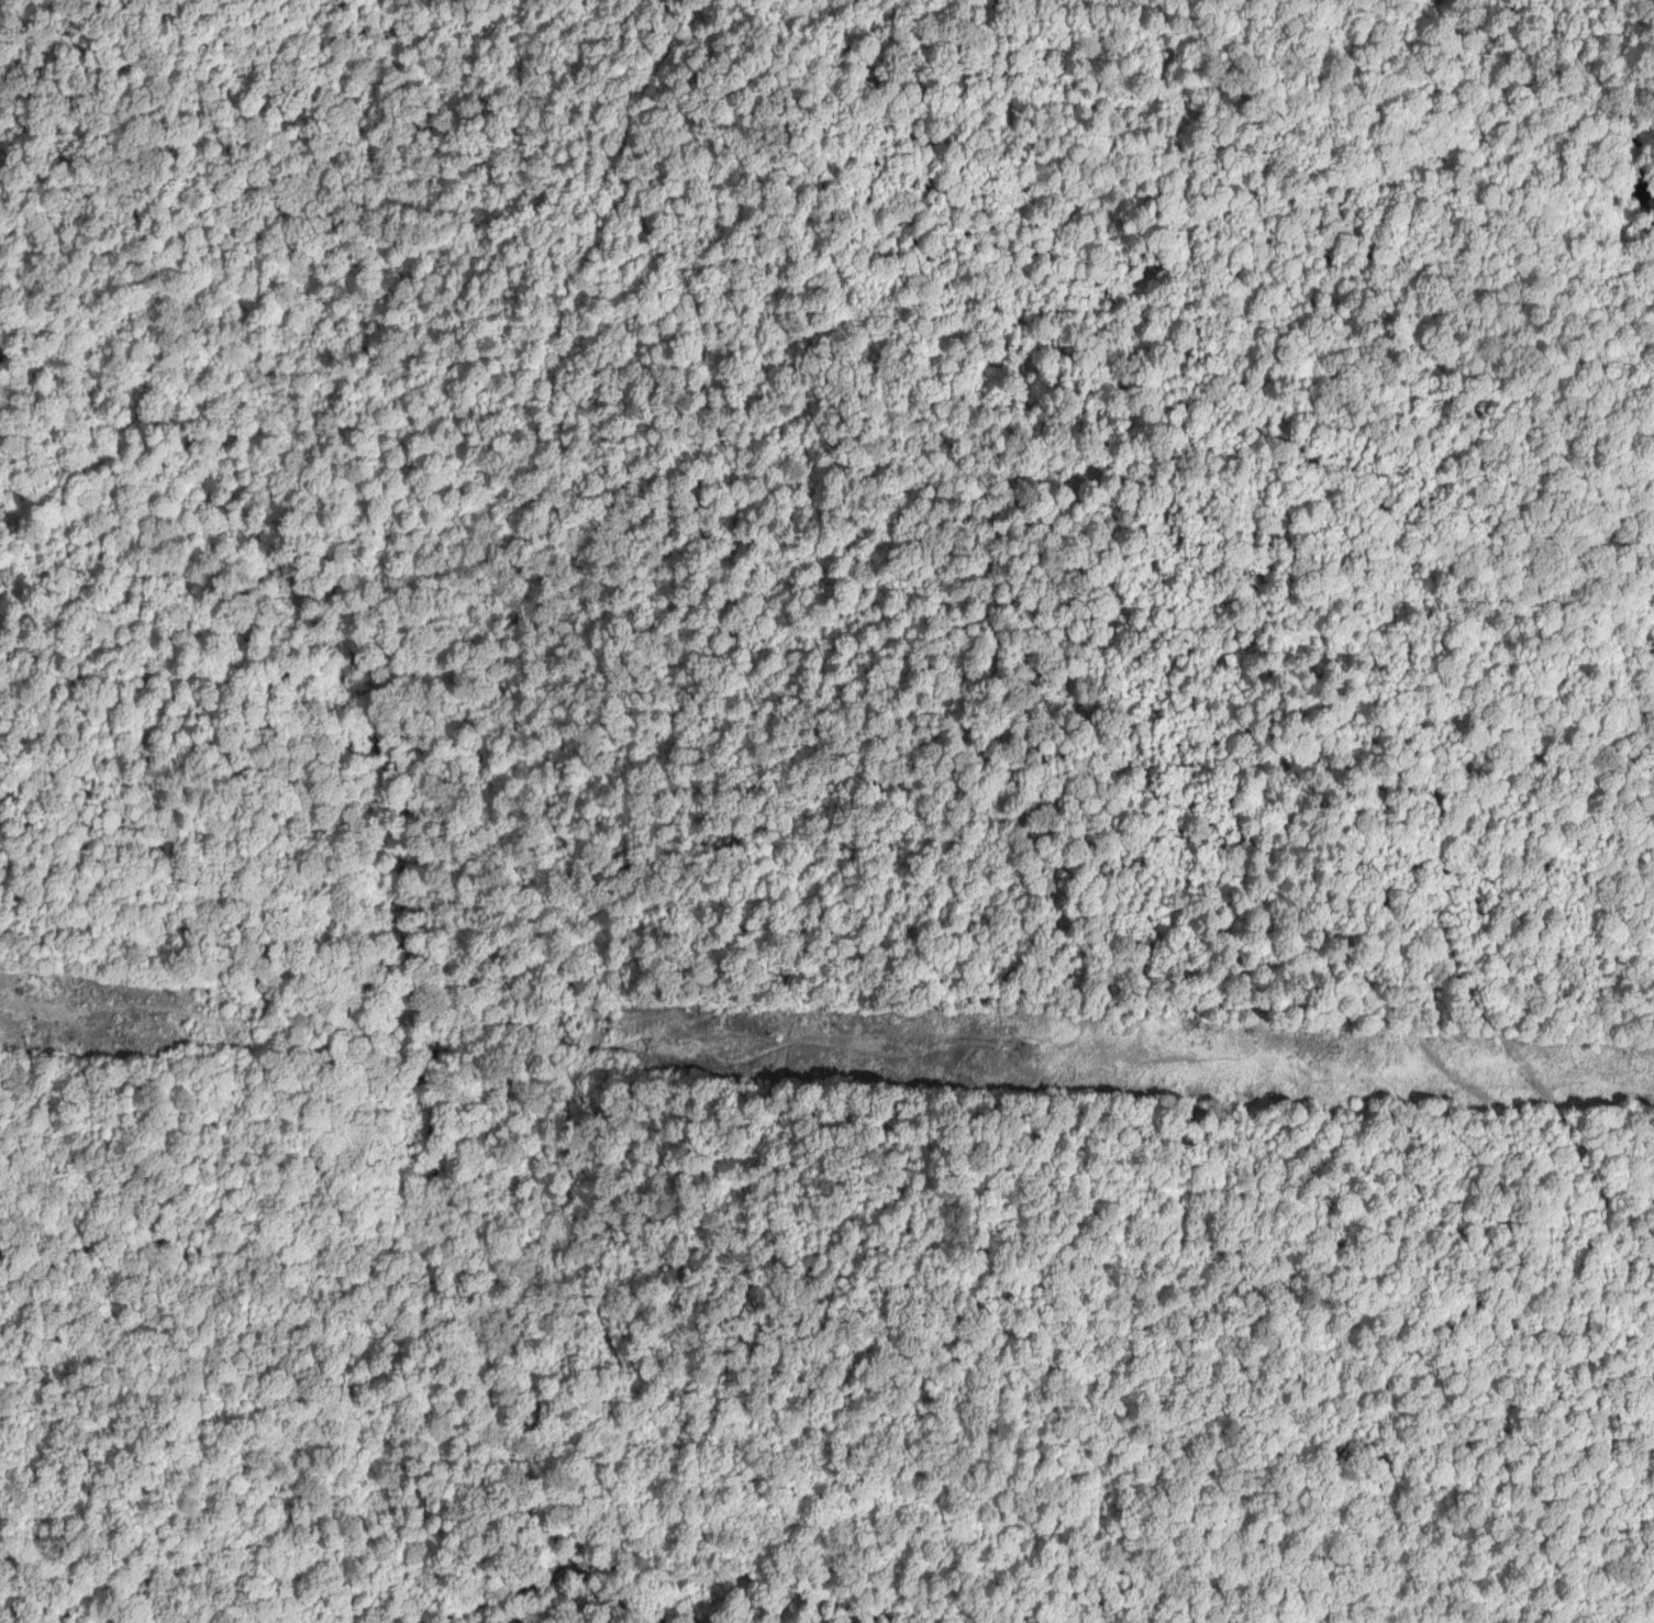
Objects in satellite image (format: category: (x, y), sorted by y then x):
road: (708, 1566)

